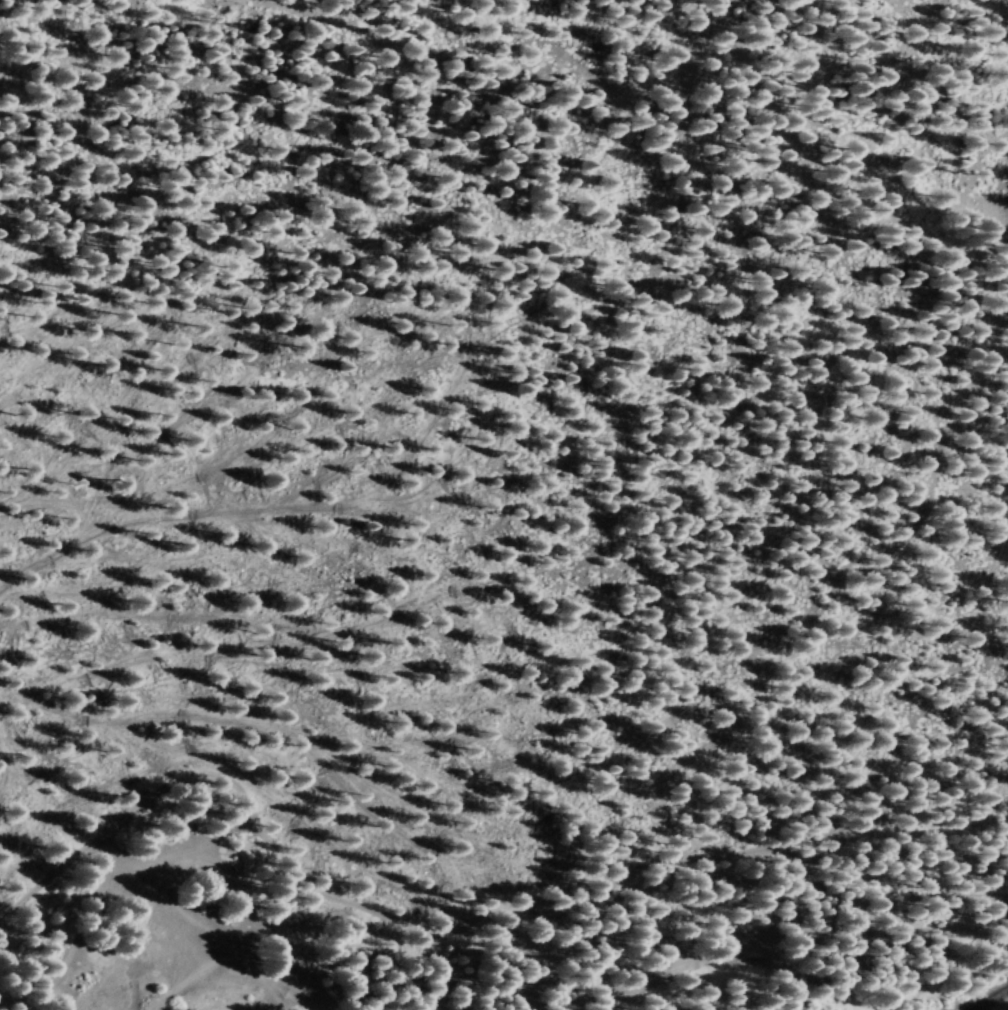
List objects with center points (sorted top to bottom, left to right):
road: (1006, 4)
road: (469, 921)
railway: (993, 1001)

